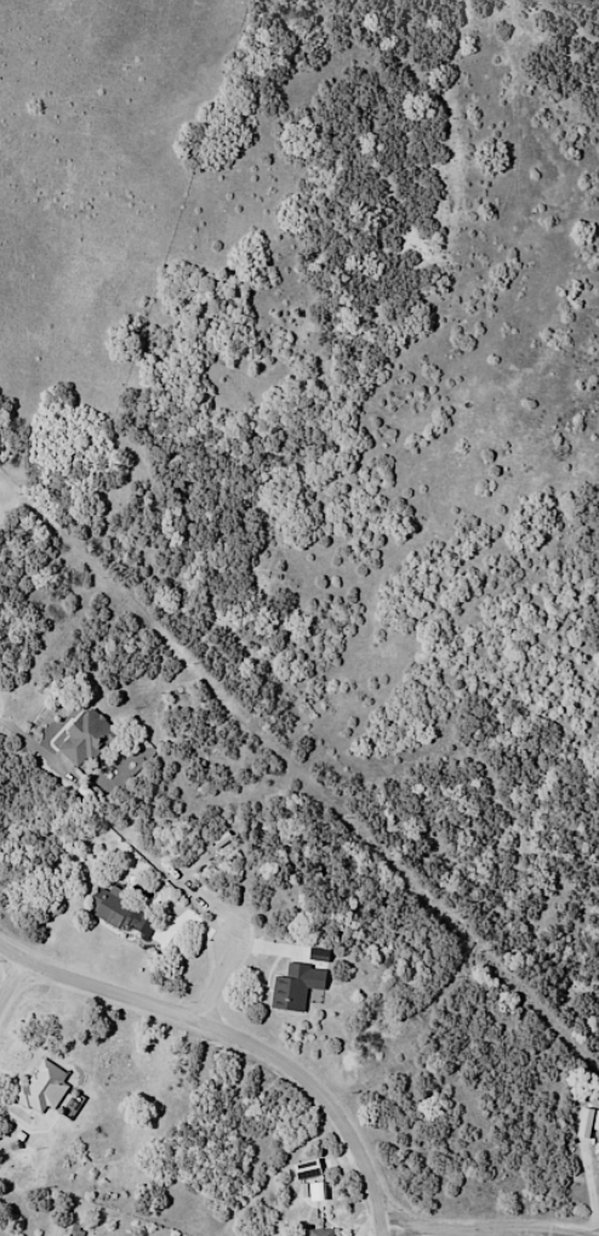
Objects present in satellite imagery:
building: (85, 739)
building: (131, 922)
road: (235, 981)
road: (15, 985)
building: (304, 994)
road: (243, 1033)
building: (40, 1087)
building: (592, 1127)
building: (316, 1190)
road: (485, 1223)
building: (318, 1231)

